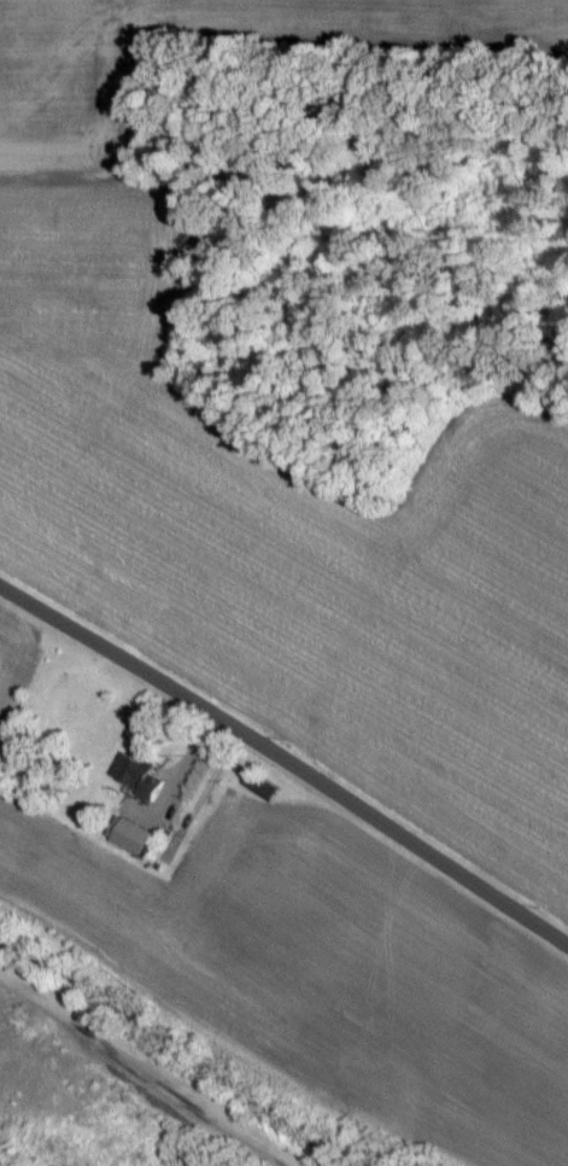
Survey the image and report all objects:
building: (125, 769)
building: (252, 785)
road: (283, 786)
building: (123, 834)
quarry: (121, 1097)

